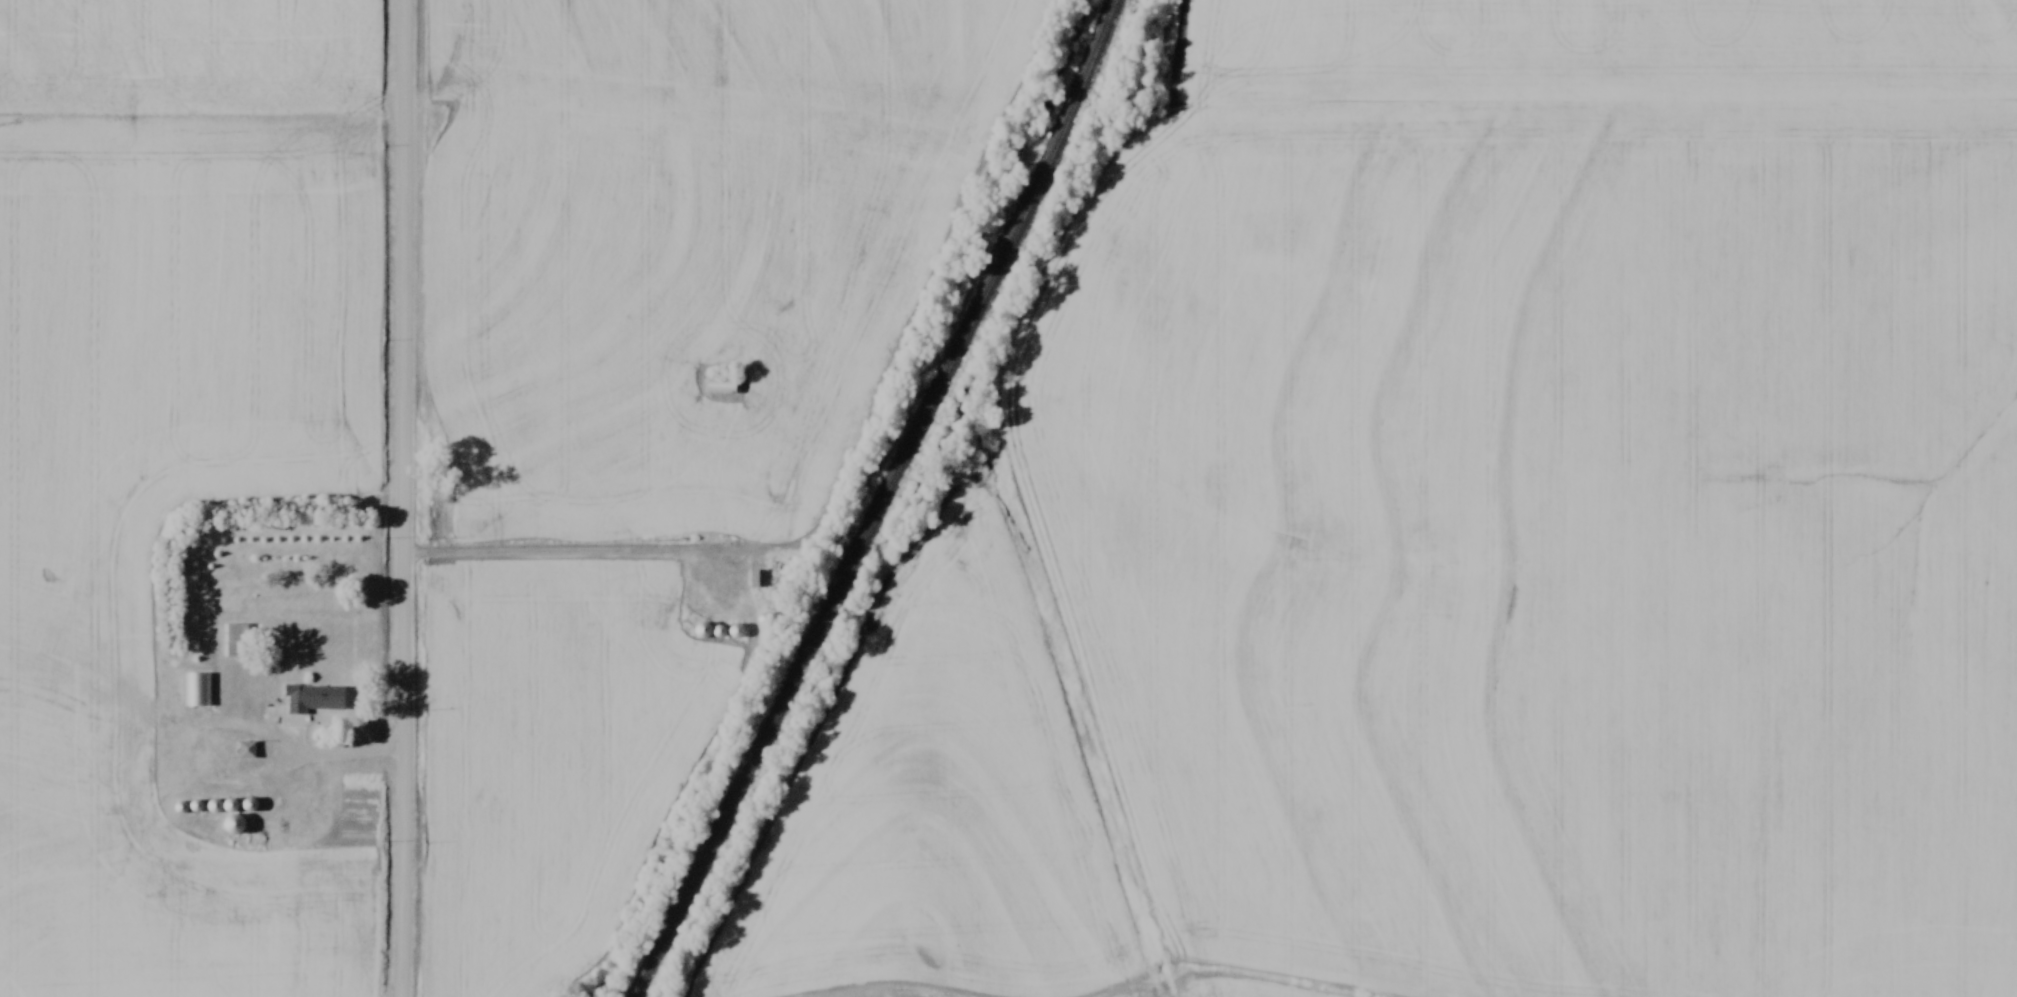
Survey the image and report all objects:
building: (720, 384)
road: (404, 498)
railway: (891, 502)
road: (570, 552)
building: (757, 578)
building: (702, 630)
building: (234, 640)
building: (196, 690)
building: (315, 697)
building: (245, 750)
road: (298, 759)
building: (213, 806)
building: (232, 818)

